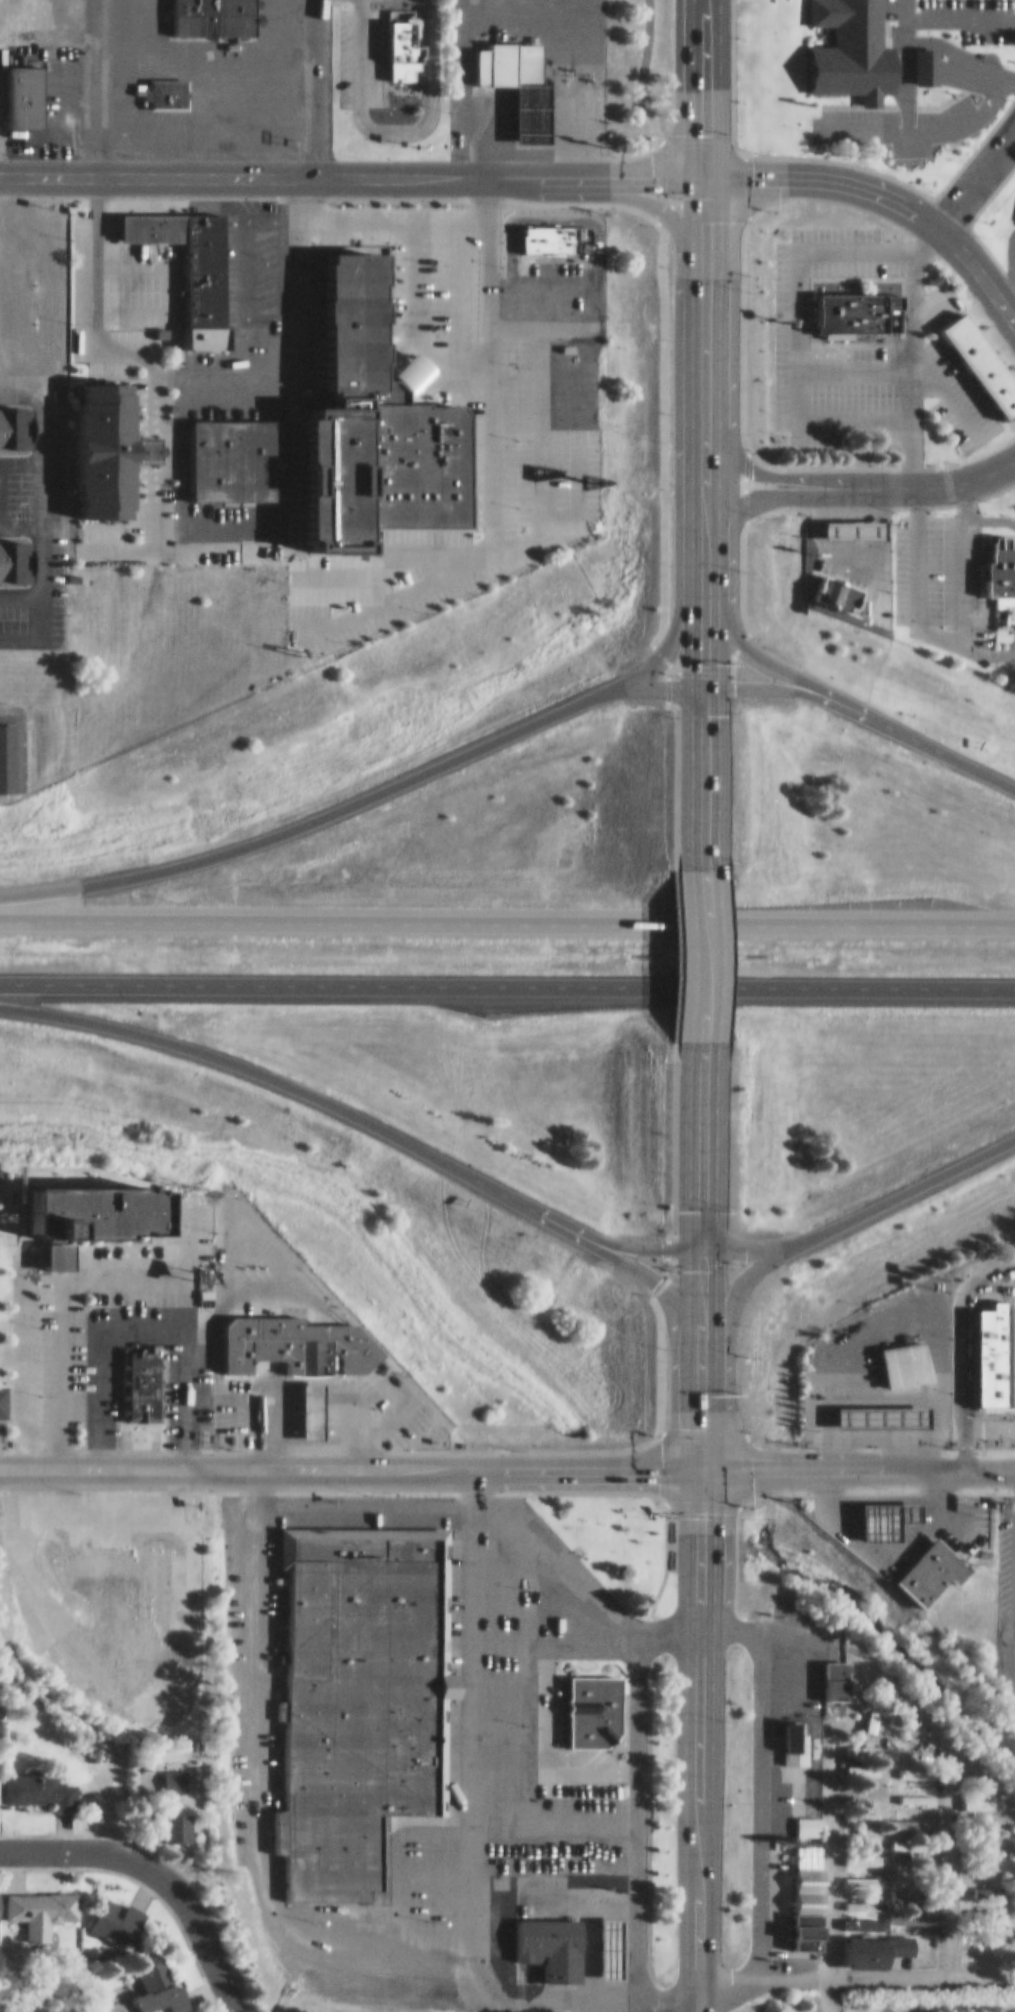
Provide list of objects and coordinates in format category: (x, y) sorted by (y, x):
building: (207, 12)
road: (135, 26)
road: (273, 26)
building: (394, 41)
road: (179, 53)
building: (851, 55)
building: (920, 57)
road: (989, 64)
parking lot: (202, 73)
building: (520, 83)
building: (159, 85)
road: (316, 85)
road: (706, 85)
road: (87, 86)
building: (14, 87)
road: (200, 90)
road: (644, 95)
road: (962, 96)
road: (392, 122)
road: (201, 127)
road: (976, 169)
road: (410, 170)
road: (881, 187)
building: (1014, 210)
building: (540, 231)
road: (977, 266)
building: (195, 273)
road: (1003, 274)
building: (849, 304)
road: (704, 324)
road: (795, 326)
road: (910, 342)
building: (974, 358)
road: (903, 361)
road: (150, 362)
road: (21, 387)
building: (9, 419)
building: (335, 420)
building: (92, 442)
road: (862, 477)
road: (962, 492)
road: (42, 508)
road: (940, 512)
road: (989, 512)
road: (701, 519)
building: (843, 519)
building: (15, 553)
building: (992, 566)
road: (917, 568)
road: (951, 573)
building: (823, 582)
road: (698, 620)
road: (43, 630)
road: (983, 643)
road: (762, 678)
road: (640, 679)
road: (836, 694)
road: (18, 731)
building: (8, 749)
road: (693, 769)
road: (384, 779)
road: (507, 914)
road: (690, 946)
road: (507, 976)
road: (283, 1077)
road: (692, 1134)
road: (829, 1216)
road: (618, 1236)
road: (736, 1242)
road: (641, 1267)
building: (987, 1279)
road: (57, 1282)
road: (696, 1297)
road: (139, 1322)
building: (284, 1337)
building: (985, 1344)
building: (895, 1355)
building: (1014, 1358)
building: (133, 1373)
building: (21, 1384)
building: (301, 1400)
gas station: (301, 1400)
building: (871, 1407)
gas station: (871, 1407)
road: (696, 1409)
road: (347, 1459)
road: (855, 1460)
road: (385, 1502)
building: (865, 1513)
gas station: (865, 1513)
building: (917, 1565)
road: (575, 1566)
building: (157, 1579)
road: (1005, 1630)
building: (82, 1648)
building: (134, 1666)
building: (825, 1670)
building: (872, 1686)
building: (353, 1694)
building: (3, 1700)
building: (585, 1700)
building: (912, 1722)
building: (788, 1733)
road: (694, 1736)
building: (860, 1740)
building: (905, 1745)
road: (465, 1748)
building: (858, 1761)
road: (758, 1764)
building: (903, 1764)
building: (169, 1772)
building: (41, 1779)
building: (862, 1784)
building: (912, 1790)
building: (975, 1793)
building: (247, 1800)
road: (551, 1802)
building: (858, 1807)
building: (912, 1814)
building: (801, 1817)
building: (169, 1818)
road: (636, 1818)
building: (1010, 1818)
building: (983, 1819)
building: (860, 1830)
building: (983, 1836)
road: (829, 1838)
building: (909, 1838)
building: (1014, 1846)
building: (858, 1851)
road: (946, 1853)
building: (986, 1860)
building: (909, 1863)
building: (1014, 1868)
road: (157, 1870)
building: (859, 1872)
building: (983, 1883)
building: (860, 1897)
building: (1, 1898)
building: (43, 1901)
building: (983, 1907)
building: (119, 1910)
road: (268, 1920)
building: (793, 1923)
building: (981, 1928)
building: (894, 1936)
building: (541, 1939)
building: (599, 1939)
building: (855, 1944)
road: (792, 1967)
road: (922, 1967)
building: (160, 1974)
road: (725, 1980)
park: (40, 1984)

